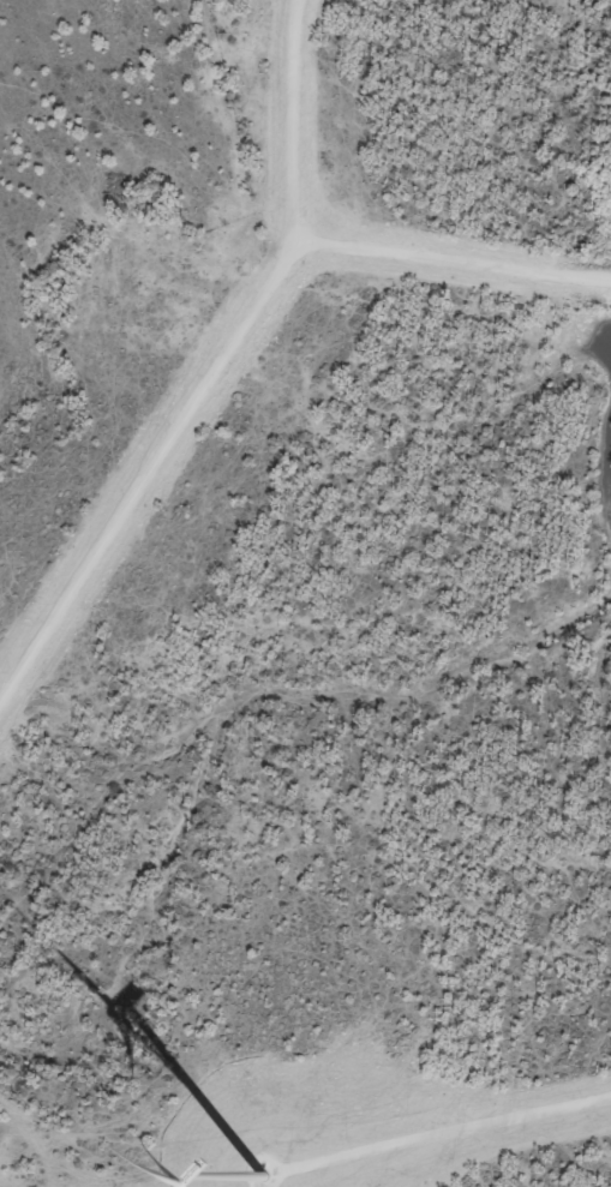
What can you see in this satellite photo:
road: (334, 246)
road: (146, 467)
road: (449, 1134)
wind turbine: (256, 1175)

